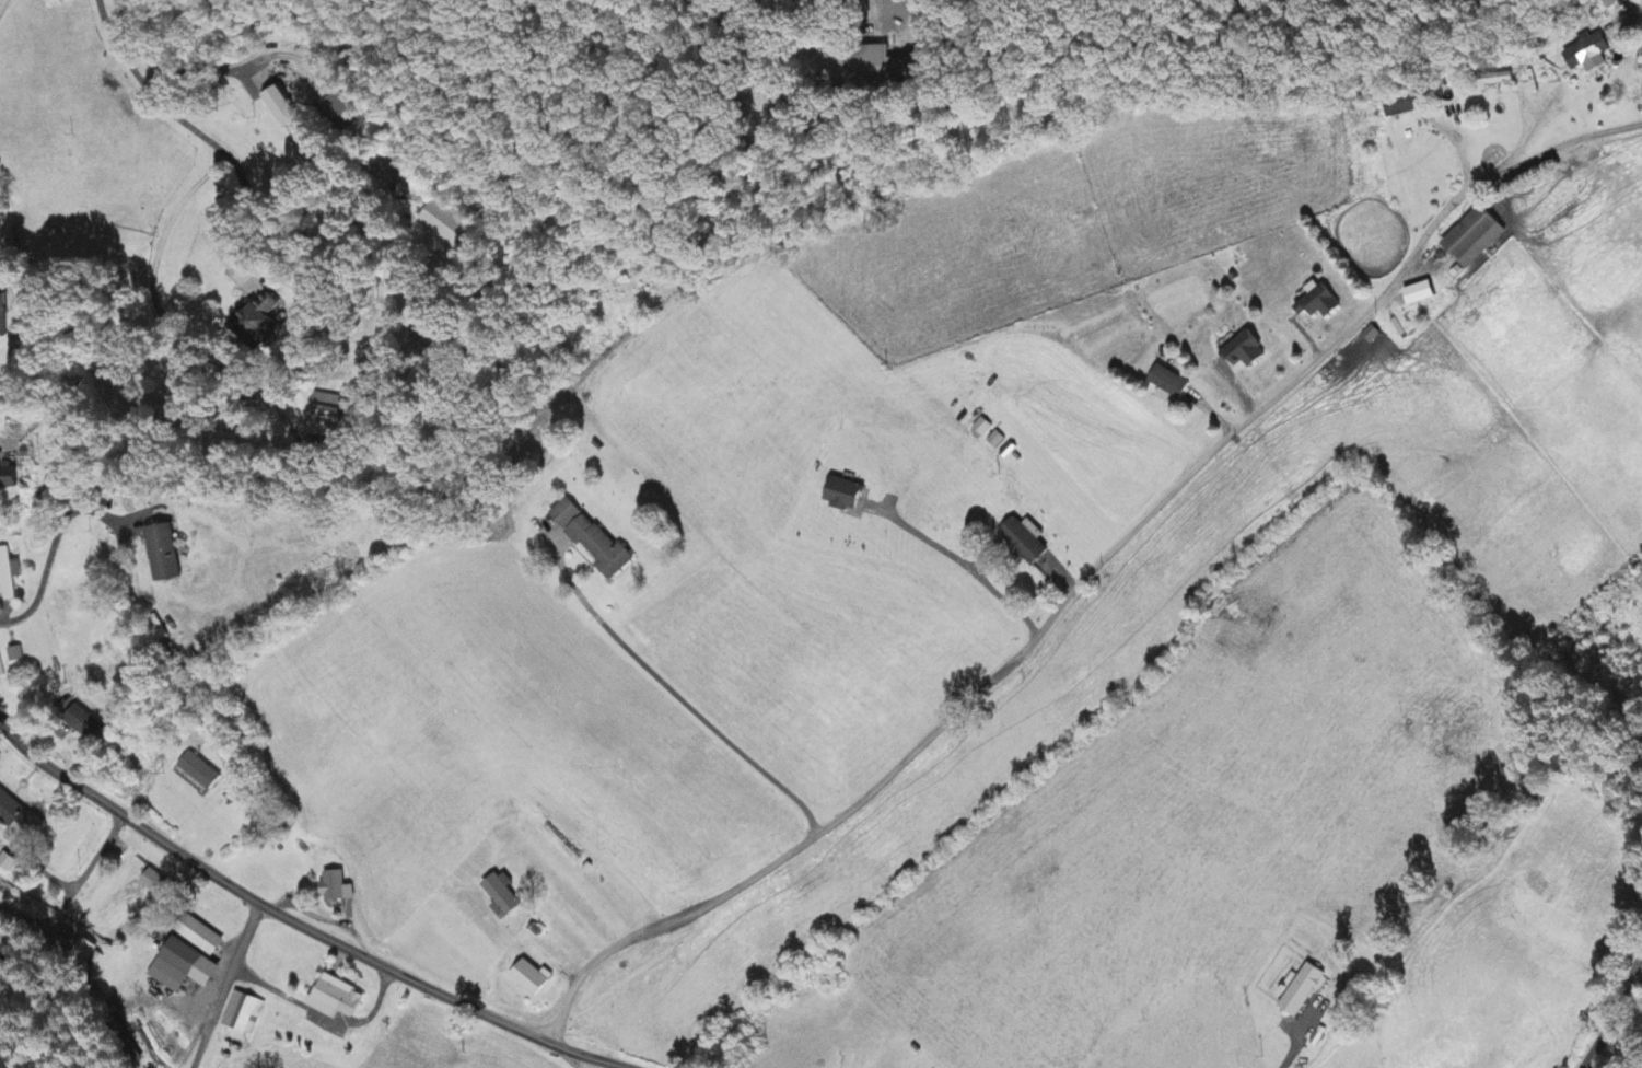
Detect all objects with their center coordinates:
building: (1638, 0)
building: (1587, 54)
building: (865, 69)
road: (150, 91)
building: (1400, 105)
building: (282, 109)
building: (339, 114)
road: (1457, 146)
road: (1502, 156)
building: (445, 227)
road: (1421, 237)
building: (1476, 237)
building: (0, 242)
building: (1421, 294)
building: (1318, 302)
building: (2, 318)
building: (255, 318)
building: (1246, 352)
building: (1168, 385)
building: (9, 388)
building: (326, 417)
building: (979, 430)
building: (995, 441)
building: (8, 476)
building: (845, 496)
building: (313, 526)
building: (591, 539)
building: (1025, 541)
building: (163, 555)
building: (8, 573)
building: (13, 655)
building: (0, 673)
road: (986, 685)
building: (81, 723)
building: (197, 774)
building: (7, 863)
building: (153, 883)
building: (335, 889)
building: (501, 897)
road: (286, 917)
building: (200, 938)
building: (184, 968)
building: (532, 979)
road: (225, 985)
building: (1302, 991)
building: (337, 1000)
building: (242, 1019)

